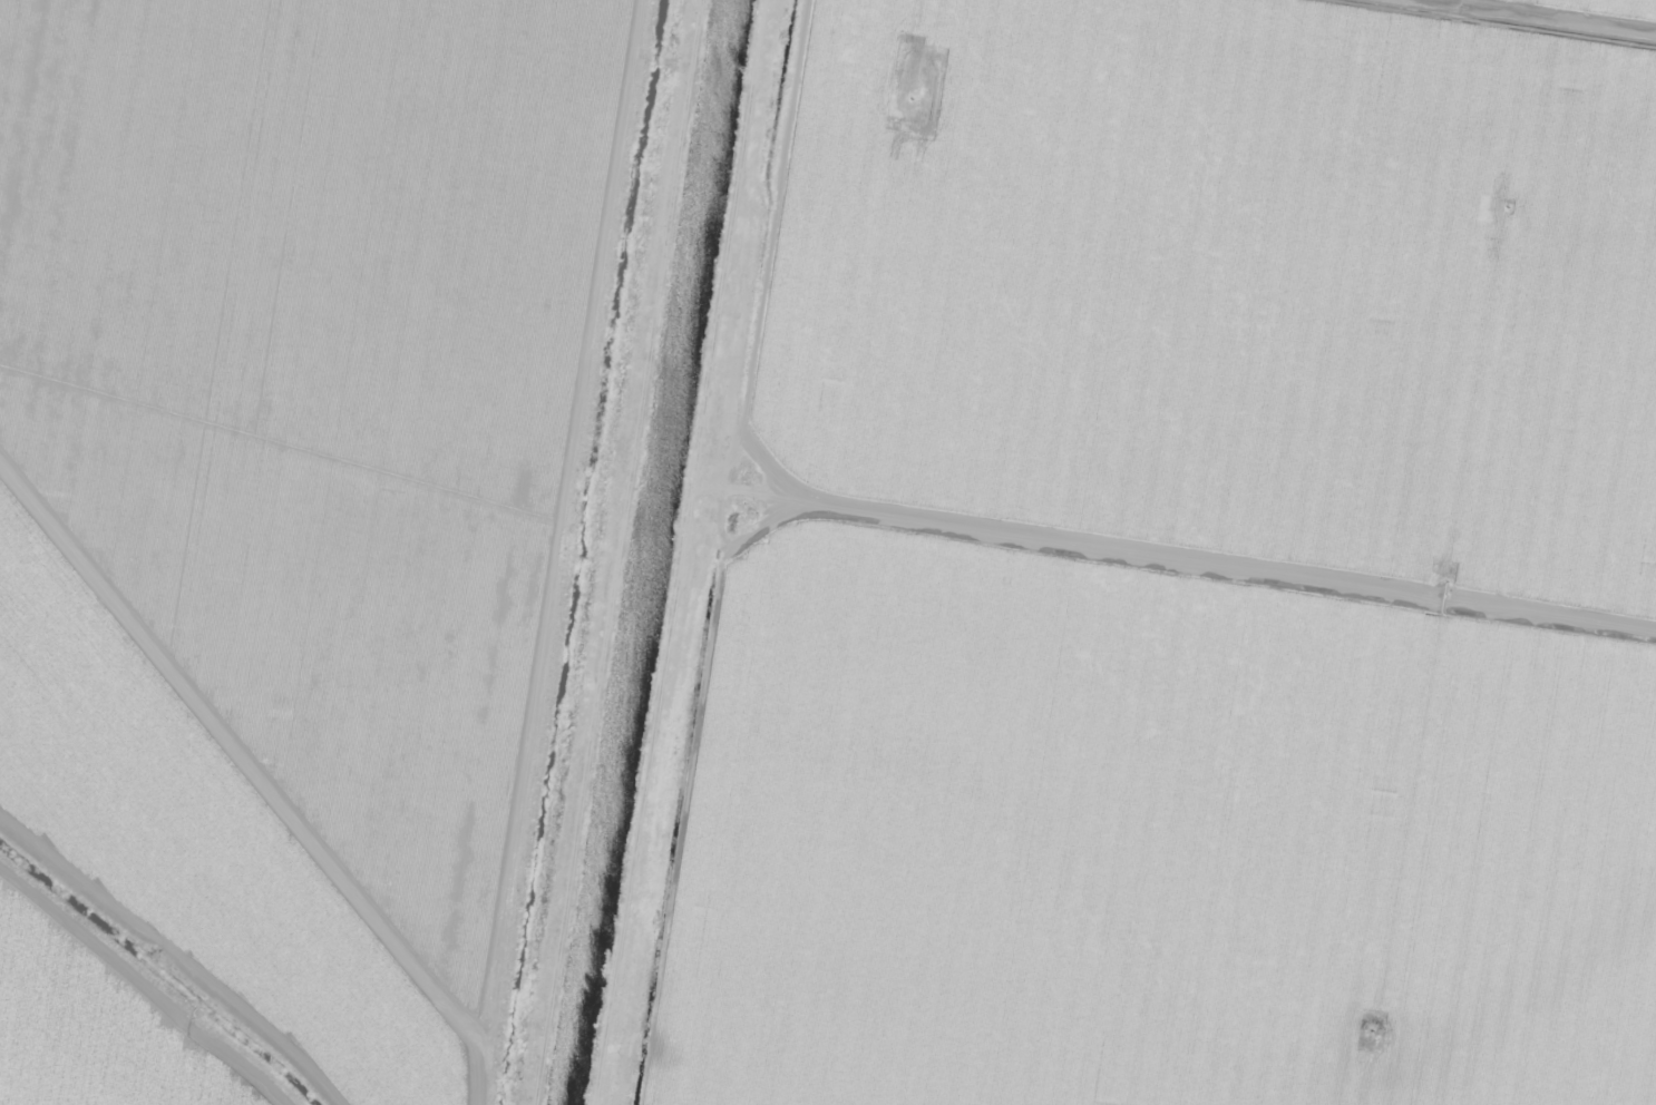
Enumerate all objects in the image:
road: (1239, 154)
road: (607, 552)
river: (616, 788)
river: (159, 975)

